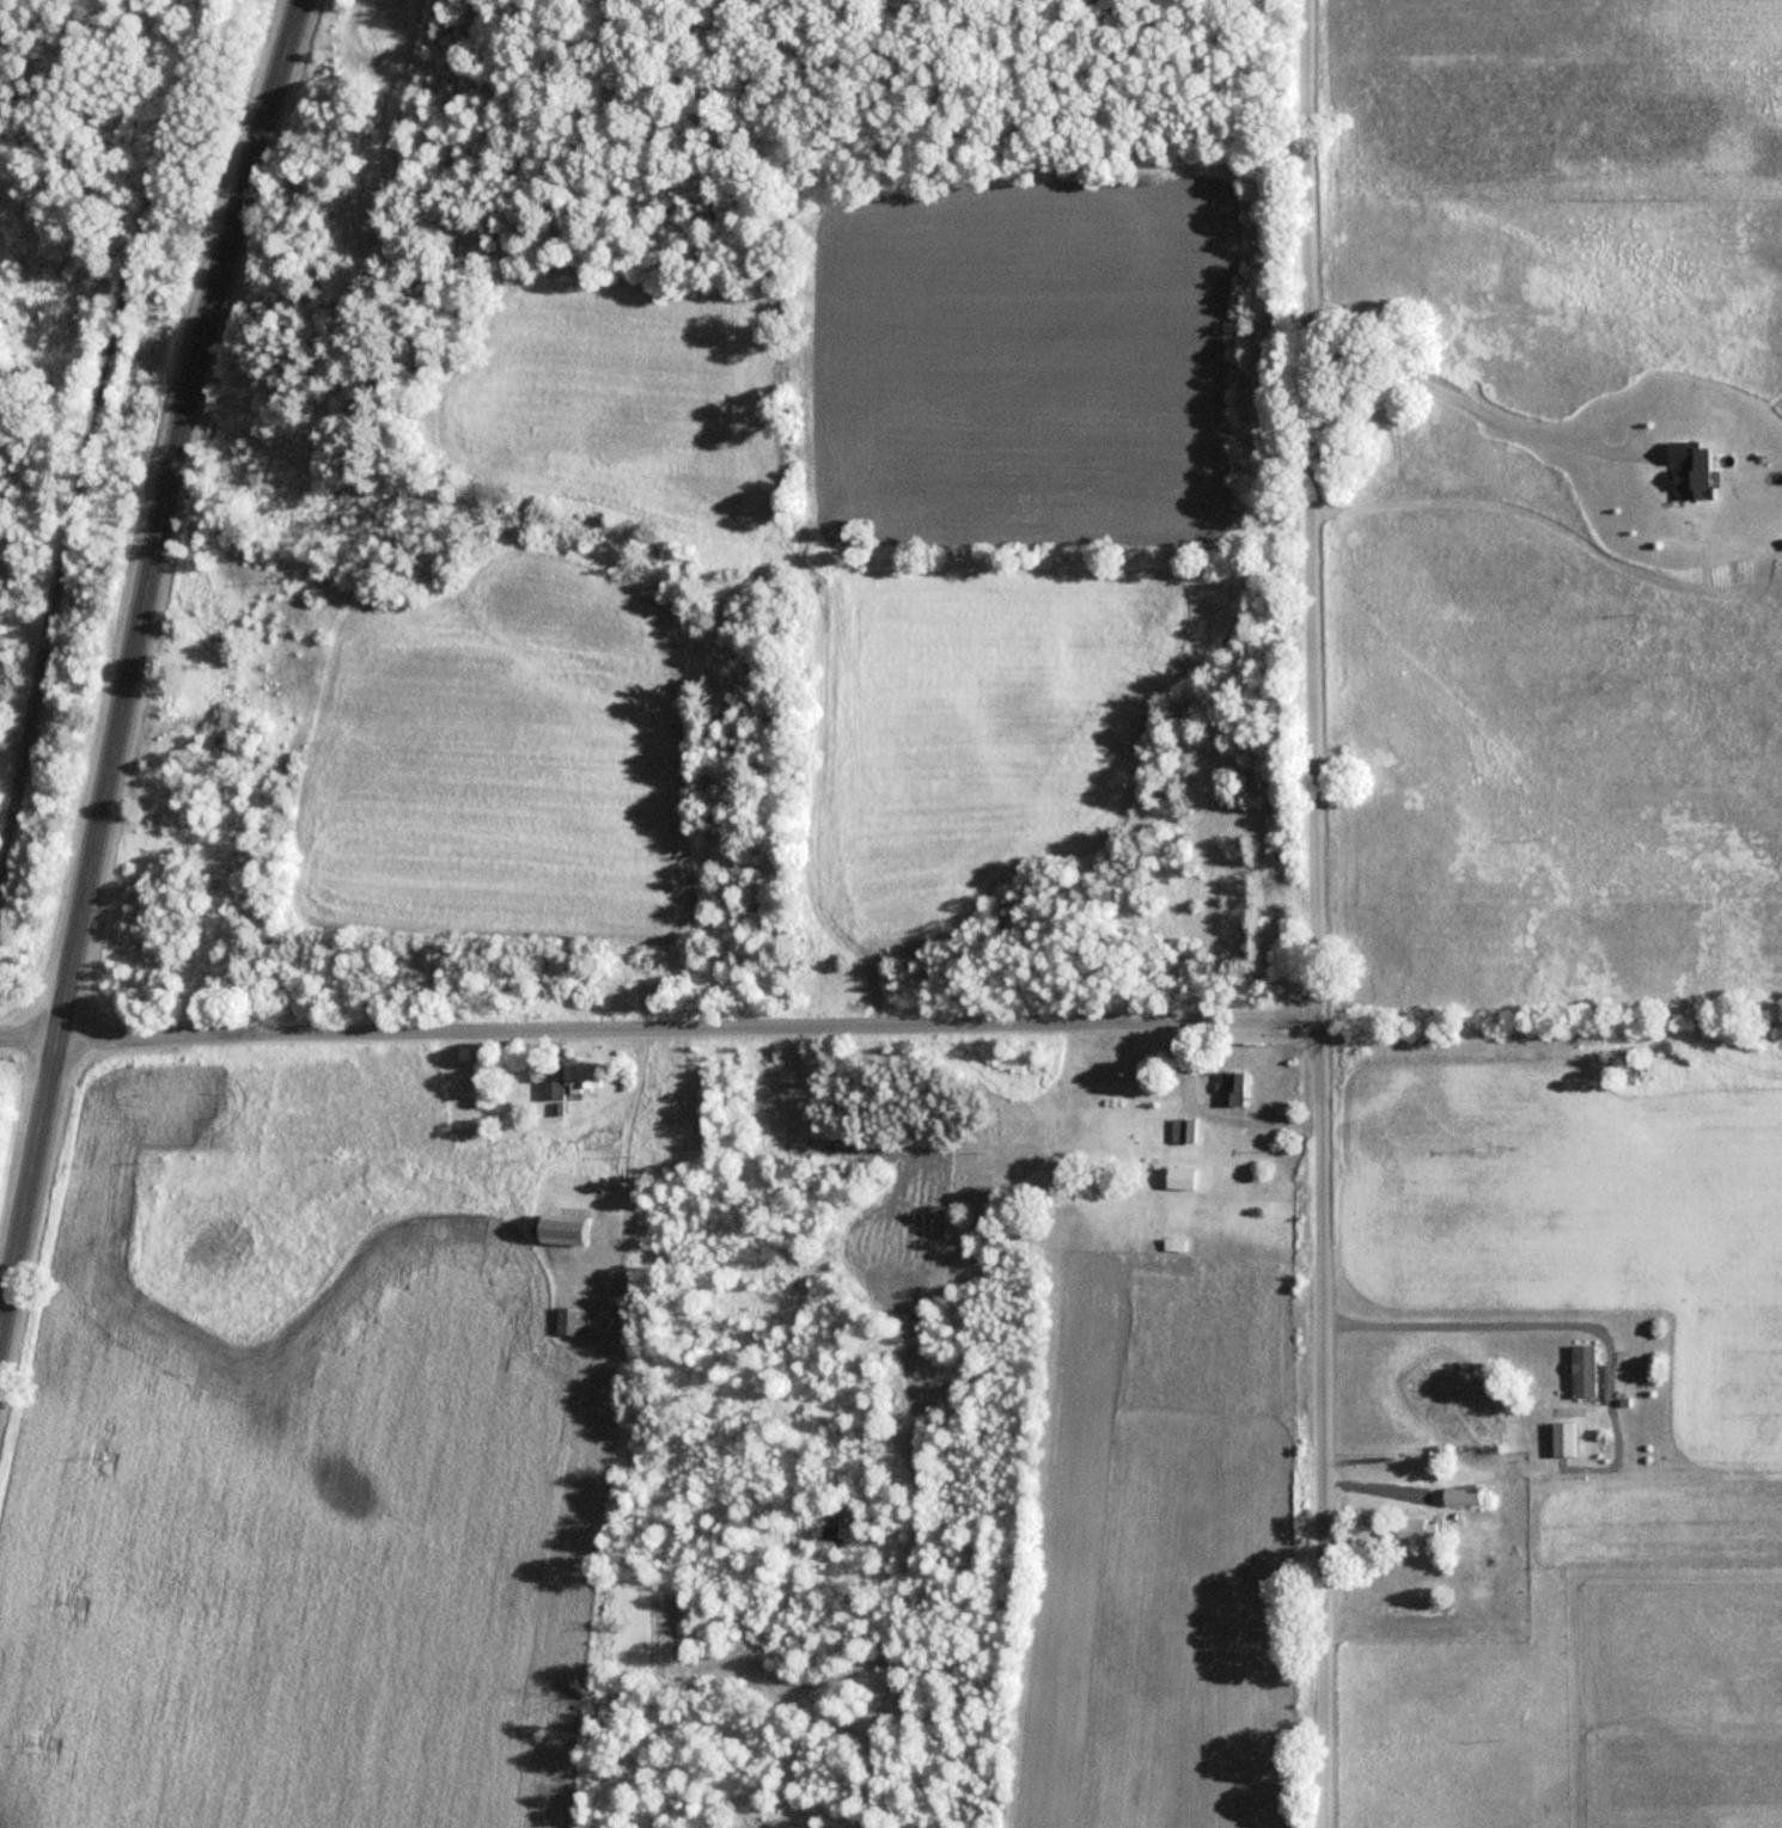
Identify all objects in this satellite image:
road: (1470, 393)
road: (99, 441)
road: (132, 656)
road: (1311, 913)
road: (655, 1032)
building: (1228, 1089)
building: (547, 1092)
building: (1179, 1131)
building: (1176, 1179)
building: (555, 1227)
building: (568, 1322)
road: (1525, 1325)
building: (1580, 1372)
building: (1560, 1439)
building: (1455, 1498)
building: (1409, 1536)

